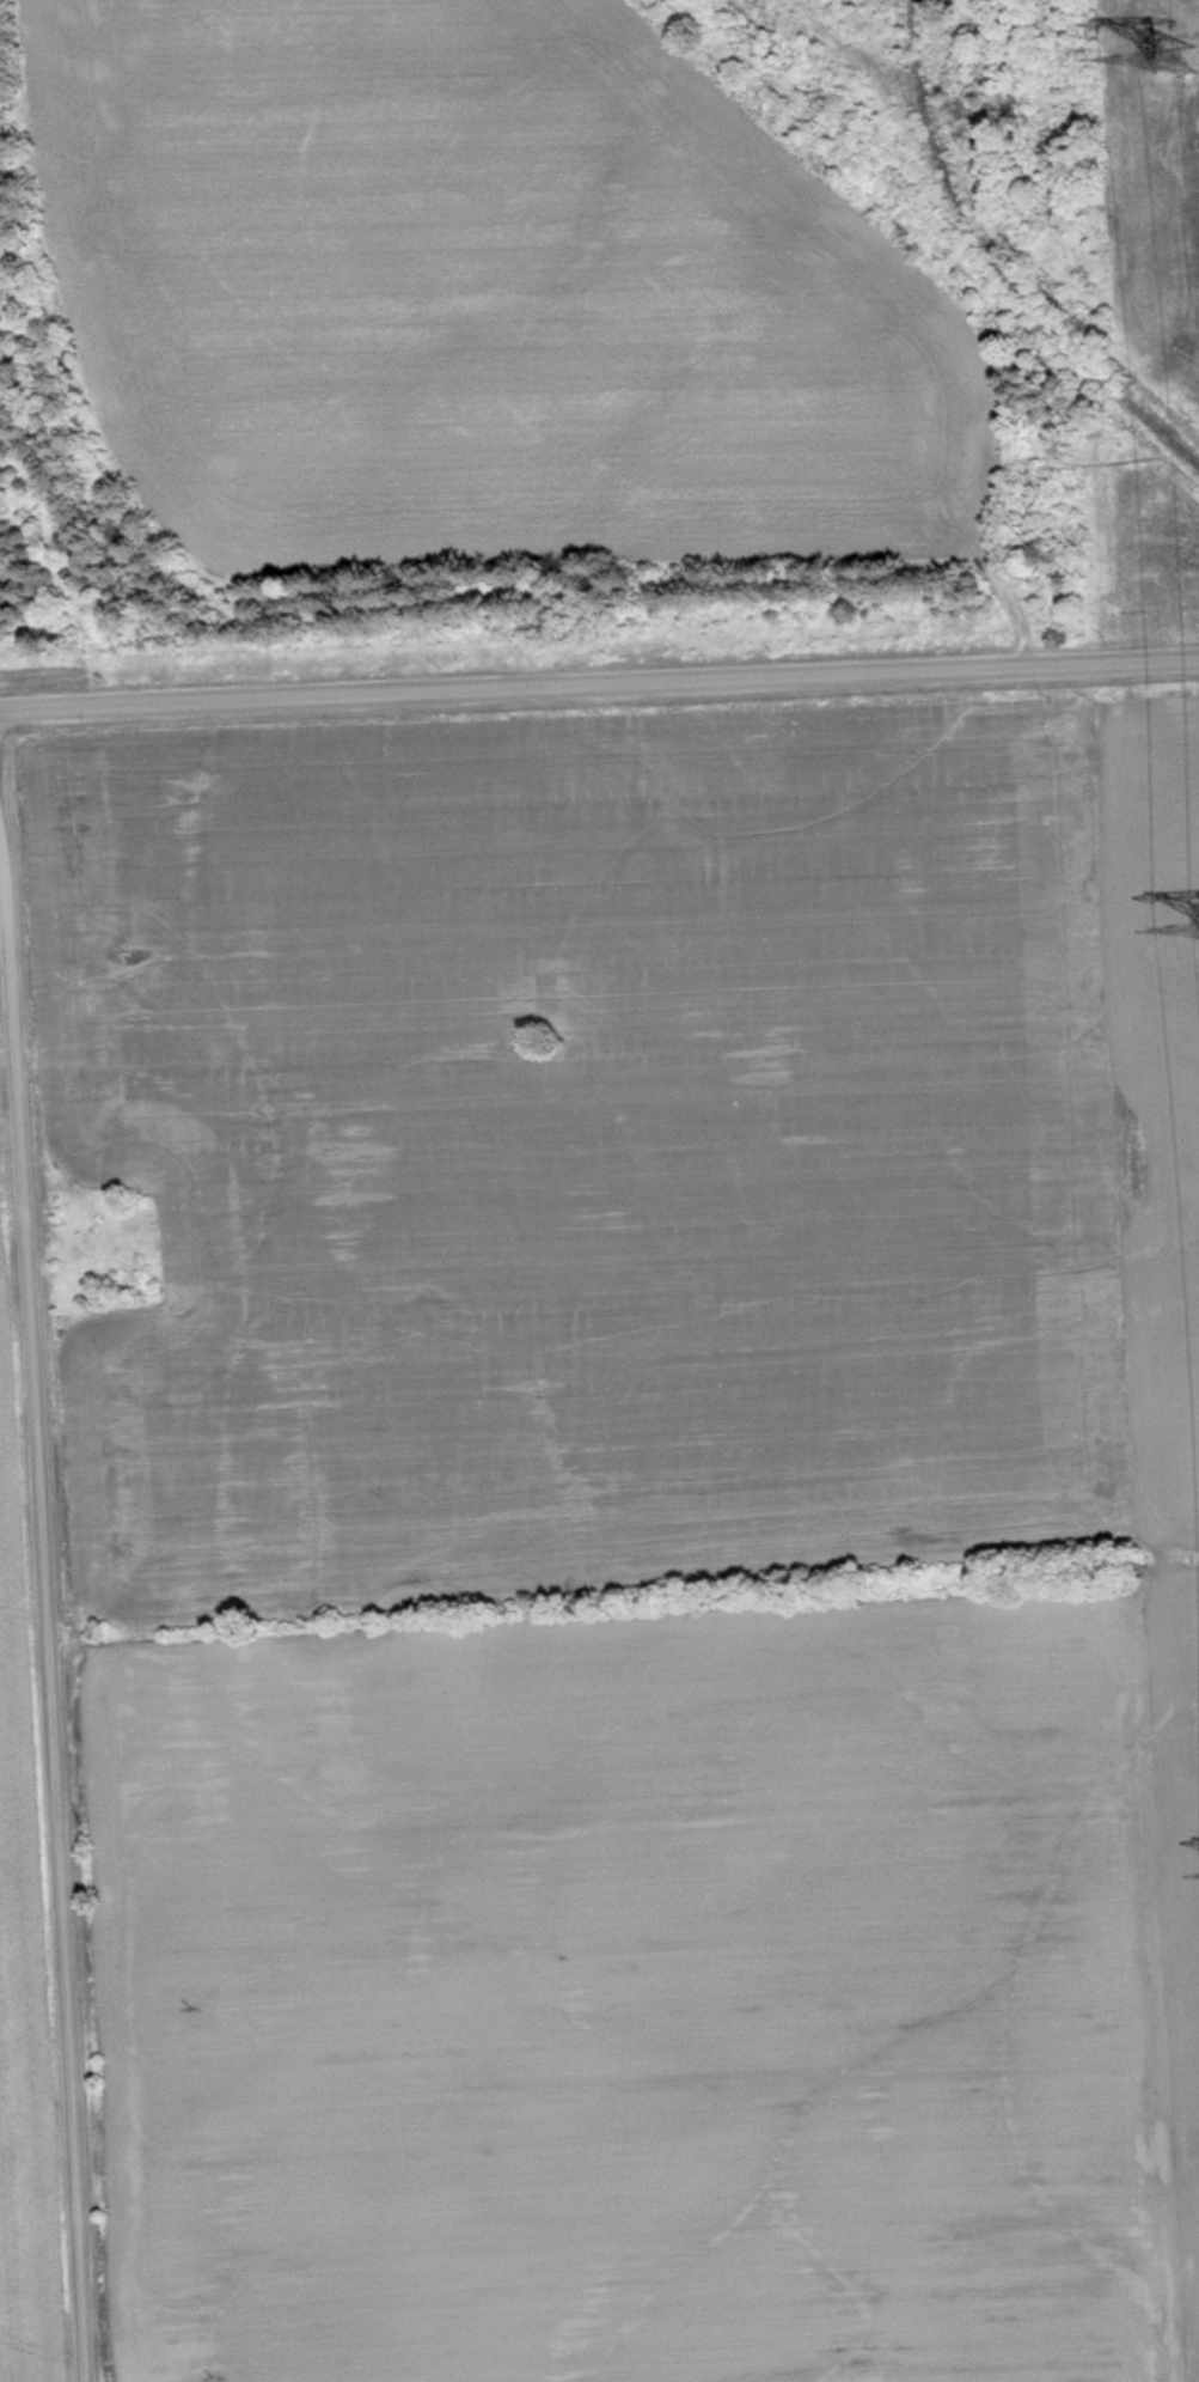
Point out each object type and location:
power tower: (1177, 57)
railway: (928, 144)
road: (599, 683)
road: (41, 1625)

